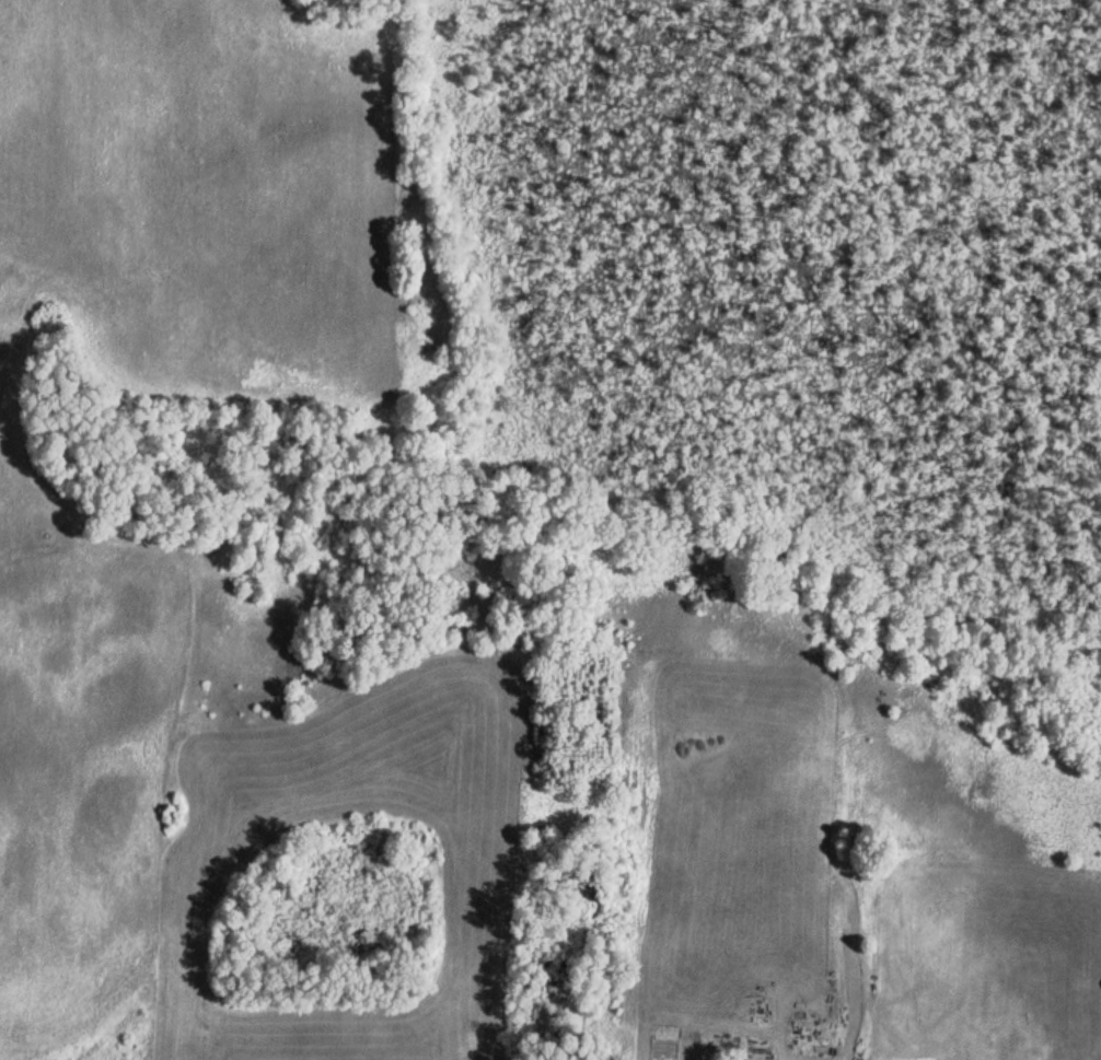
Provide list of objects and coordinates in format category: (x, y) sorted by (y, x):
crop: (71, 528)

